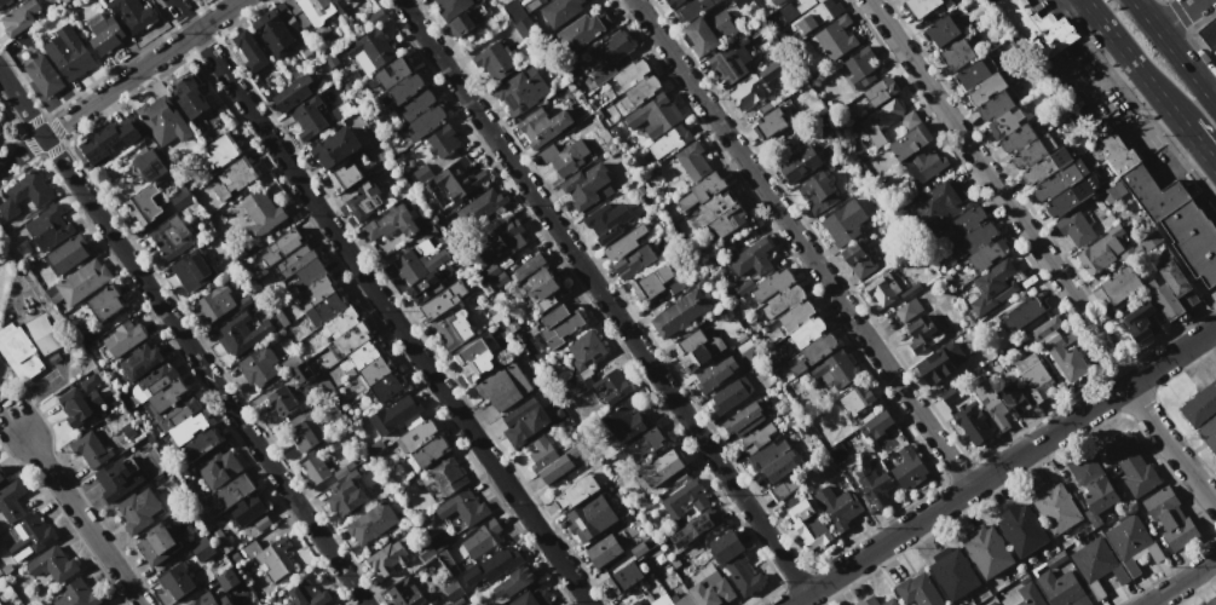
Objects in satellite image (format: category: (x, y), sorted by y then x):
building: (341, 0)
building: (345, 0)
building: (984, 0)
building: (990, 0)
building: (5, 1)
building: (774, 1)
building: (745, 2)
building: (673, 4)
building: (922, 6)
building: (451, 7)
building: (801, 7)
building: (316, 10)
building: (691, 10)
building: (560, 11)
building: (133, 13)
road: (1175, 13)
building: (290, 15)
building: (376, 16)
building: (816, 16)
building: (19, 17)
building: (518, 18)
building: (465, 21)
building: (1036, 28)
building: (582, 30)
building: (711, 30)
building: (941, 30)
building: (103, 33)
building: (1208, 33)
building: (275, 36)
building: (832, 38)
building: (370, 48)
road: (1175, 50)
building: (249, 51)
building: (1214, 51)
building: (68, 52)
building: (957, 53)
building: (609, 57)
building: (495, 60)
road: (1135, 62)
building: (730, 64)
building: (860, 68)
building: (632, 73)
building: (42, 74)
building: (973, 74)
road: (120, 83)
road: (1094, 86)
building: (987, 87)
building: (641, 90)
building: (521, 91)
building: (749, 91)
building: (880, 91)
building: (293, 93)
building: (191, 97)
building: (408, 99)
building: (995, 105)
building: (655, 115)
building: (309, 117)
building: (163, 120)
building: (880, 120)
building: (909, 120)
building: (1008, 120)
building: (773, 121)
building: (542, 126)
building: (1, 128)
building: (1018, 137)
building: (440, 140)
building: (669, 140)
building: (910, 142)
building: (106, 143)
road: (1200, 145)
building: (335, 148)
building: (858, 148)
building: (218, 151)
building: (1117, 152)
building: (1028, 154)
building: (565, 157)
building: (853, 157)
building: (692, 161)
building: (805, 162)
building: (1048, 165)
building: (149, 166)
building: (924, 166)
building: (421, 174)
building: (235, 177)
building: (344, 179)
building: (461, 179)
building: (1056, 181)
building: (582, 188)
building: (640, 189)
building: (702, 190)
building: (1113, 191)
building: (817, 192)
building: (1152, 192)
building: (25, 194)
building: (878, 196)
building: (1071, 196)
building: (180, 198)
building: (362, 198)
building: (144, 204)
building: (480, 206)
building: (715, 206)
building: (935, 206)
building: (261, 212)
building: (726, 221)
building: (963, 221)
building: (390, 223)
building: (843, 223)
building: (604, 224)
building: (48, 227)
building: (1074, 227)
building: (169, 237)
building: (502, 238)
building: (975, 238)
building: (1149, 240)
building: (1193, 240)
building: (624, 243)
road: (800, 244)
building: (281, 246)
building: (1139, 249)
building: (1101, 250)
road: (1039, 252)
building: (69, 254)
building: (986, 254)
building: (753, 257)
building: (858, 258)
building: (294, 260)
building: (634, 260)
building: (416, 264)
building: (528, 267)
building: (191, 271)
building: (490, 271)
building: (309, 273)
building: (82, 281)
building: (651, 282)
building: (431, 283)
building: (772, 283)
building: (1120, 283)
building: (1177, 283)
building: (742, 286)
building: (993, 286)
building: (675, 287)
building: (882, 288)
building: (541, 289)
building: (315, 292)
building: (909, 292)
road: (603, 296)
building: (1164, 299)
building: (443, 300)
building: (784, 300)
building: (215, 301)
road: (381, 301)
building: (105, 302)
building: (325, 309)
building: (907, 309)
building: (1024, 311)
building: (680, 312)
building: (795, 316)
building: (1141, 321)
building: (559, 324)
building: (453, 328)
building: (1044, 328)
building: (346, 329)
building: (805, 333)
building: (42, 334)
building: (241, 334)
building: (921, 334)
building: (123, 338)
building: (1068, 338)
road: (181, 340)
building: (584, 350)
building: (697, 350)
building: (811, 351)
building: (18, 352)
building: (479, 357)
building: (750, 357)
building: (1061, 358)
building: (140, 361)
building: (940, 362)
building: (365, 364)
building: (258, 365)
building: (836, 368)
building: (1031, 370)
building: (301, 371)
building: (714, 374)
building: (773, 379)
building: (387, 386)
building: (505, 386)
building: (607, 386)
building: (161, 387)
building: (947, 394)
building: (732, 397)
building: (857, 399)
building: (1014, 399)
building: (281, 401)
building: (80, 402)
building: (992, 403)
building: (1200, 405)
building: (393, 416)
building: (745, 417)
building: (524, 421)
building: (186, 422)
building: (626, 422)
building: (880, 422)
building: (973, 425)
building: (302, 431)
road: (16, 433)
building: (1209, 433)
building: (755, 438)
building: (201, 443)
building: (421, 443)
building: (645, 444)
building: (90, 449)
building: (837, 453)
building: (767, 454)
building: (551, 459)
building: (1130, 463)
building: (779, 465)
building: (909, 467)
road: (1002, 467)
building: (219, 468)
building: (315, 469)
building: (663, 469)
building: (2, 473)
building: (446, 474)
building: (116, 482)
building: (871, 483)
building: (1093, 484)
building: (785, 486)
building: (234, 491)
building: (576, 491)
building: (345, 497)
building: (684, 499)
building: (11, 501)
building: (837, 507)
building: (1056, 508)
building: (461, 509)
building: (139, 511)
building: (246, 511)
building: (590, 518)
building: (1169, 518)
road: (86, 523)
building: (371, 523)
building: (808, 524)
building: (1021, 528)
building: (693, 529)
building: (30, 536)
building: (482, 538)
building: (220, 540)
building: (438, 541)
building: (160, 544)
building: (1134, 547)
building: (638, 548)
building: (202, 549)
building: (603, 551)
building: (695, 551)
building: (989, 553)
building: (427, 554)
building: (270, 558)
building: (445, 558)
building: (387, 559)
building: (674, 563)
building: (736, 563)
building: (51, 565)
building: (1096, 565)
building: (491, 566)
building: (5, 569)
building: (953, 572)
building: (624, 576)
building: (174, 578)
building: (227, 580)
building: (514, 581)
road: (1181, 582)
building: (1060, 586)
building: (711, 588)
building: (453, 590)
building: (917, 590)
building: (1215, 592)
building: (405, 593)
building: (76, 594)
building: (306, 594)
building: (532, 597)
building: (1022, 597)
building: (669, 599)
building: (209, 600)
building: (877, 601)
building: (1209, 601)
building: (0, 604)
building: (333, 604)
building: (638, 604)
building: (992, 604)

